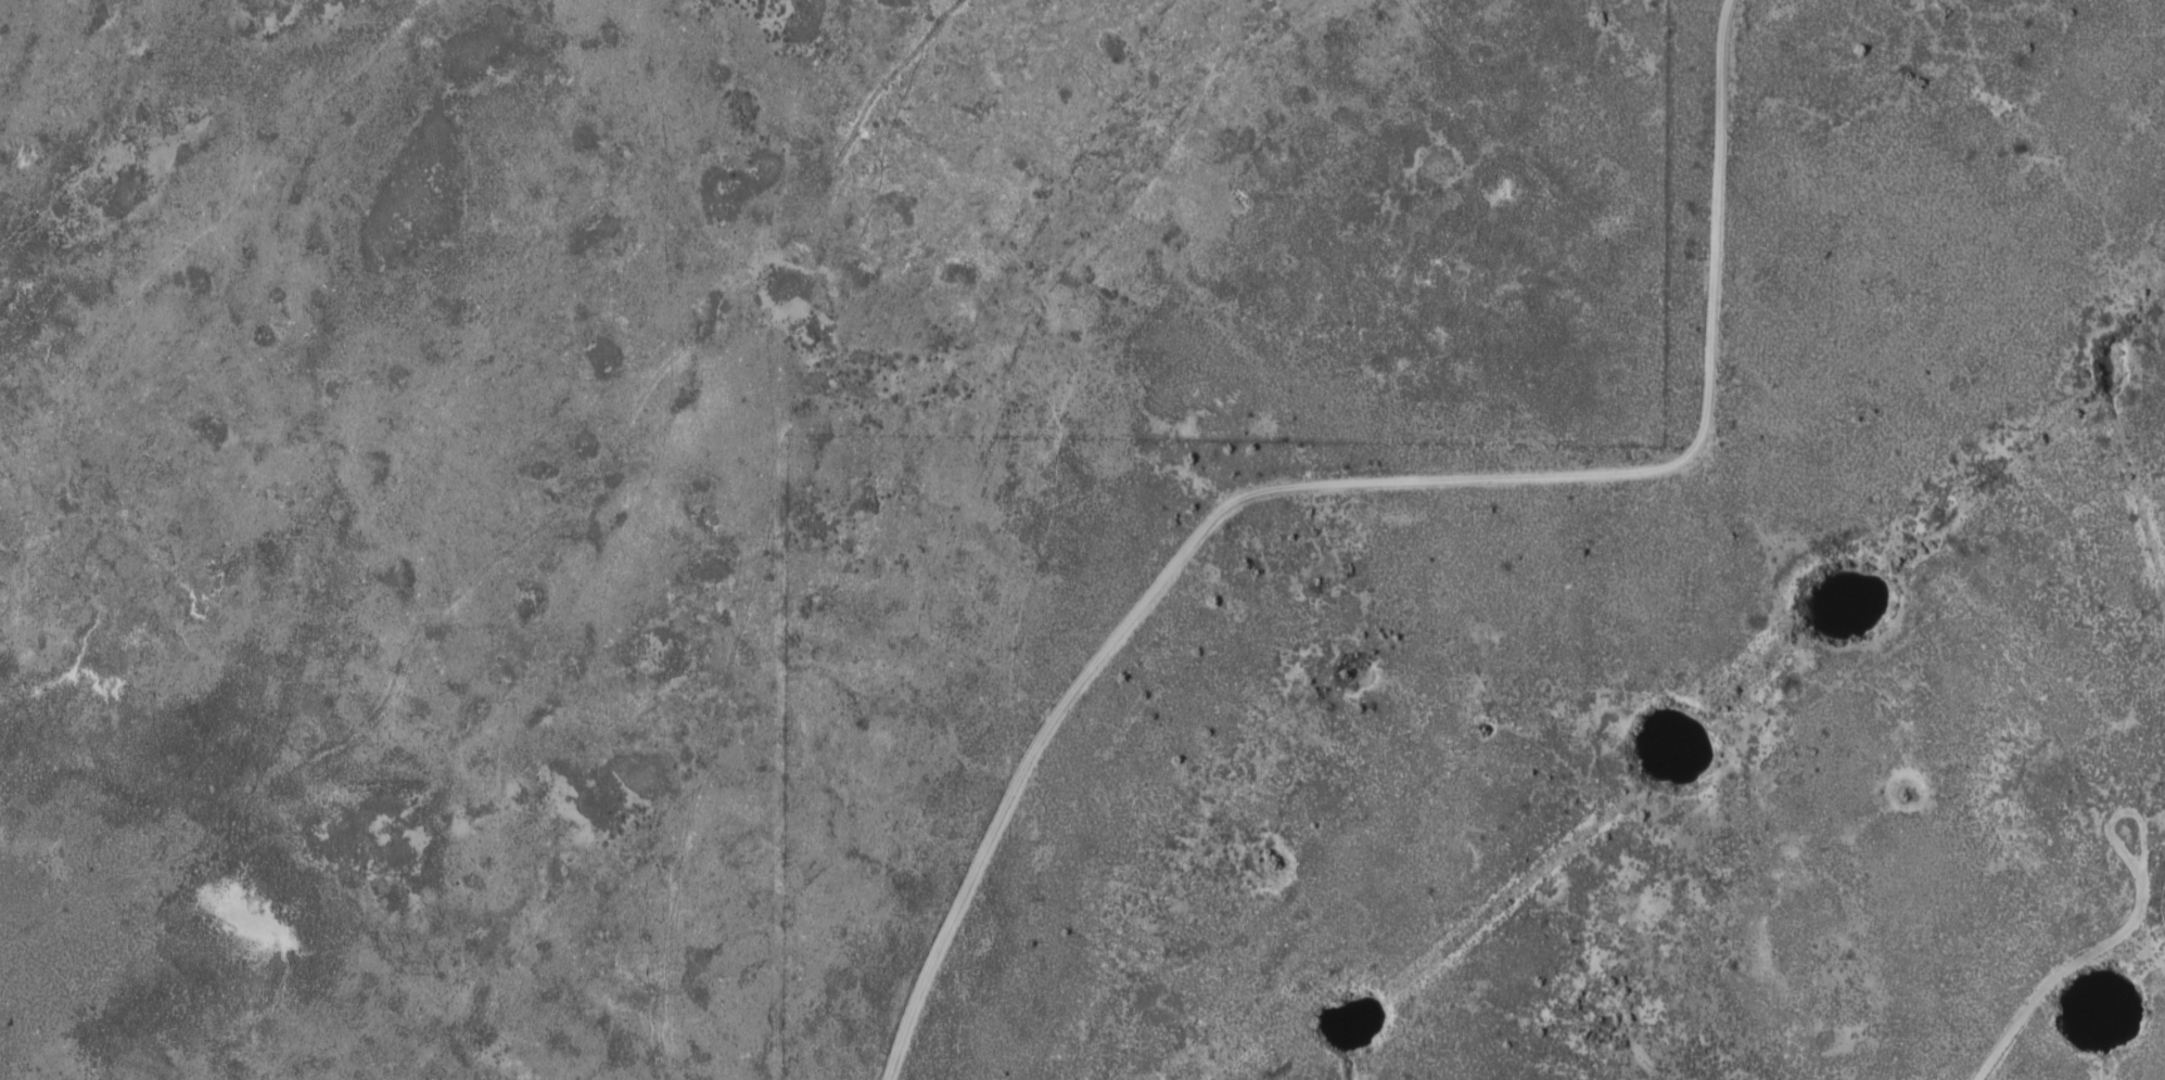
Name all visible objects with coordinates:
road: (1334, 492)
road: (2092, 957)

